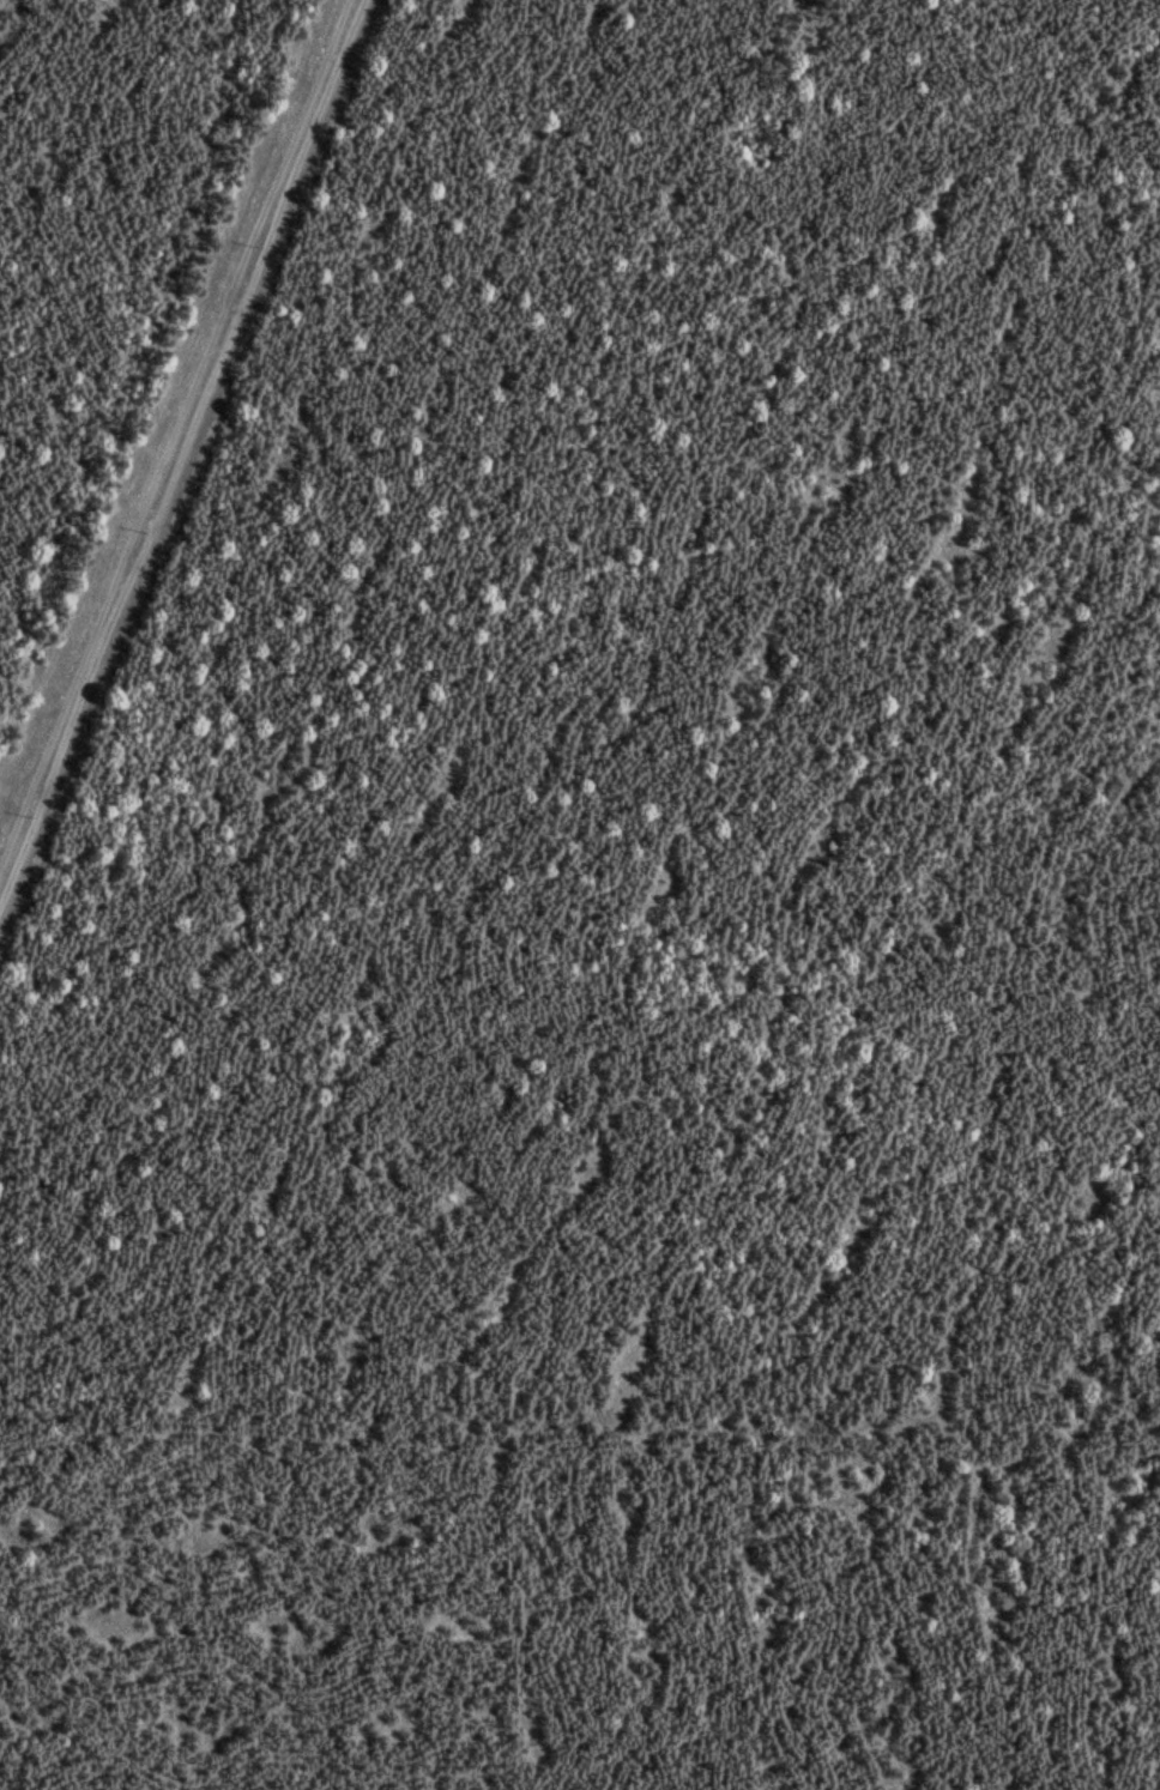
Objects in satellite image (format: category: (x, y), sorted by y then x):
road: (181, 449)

